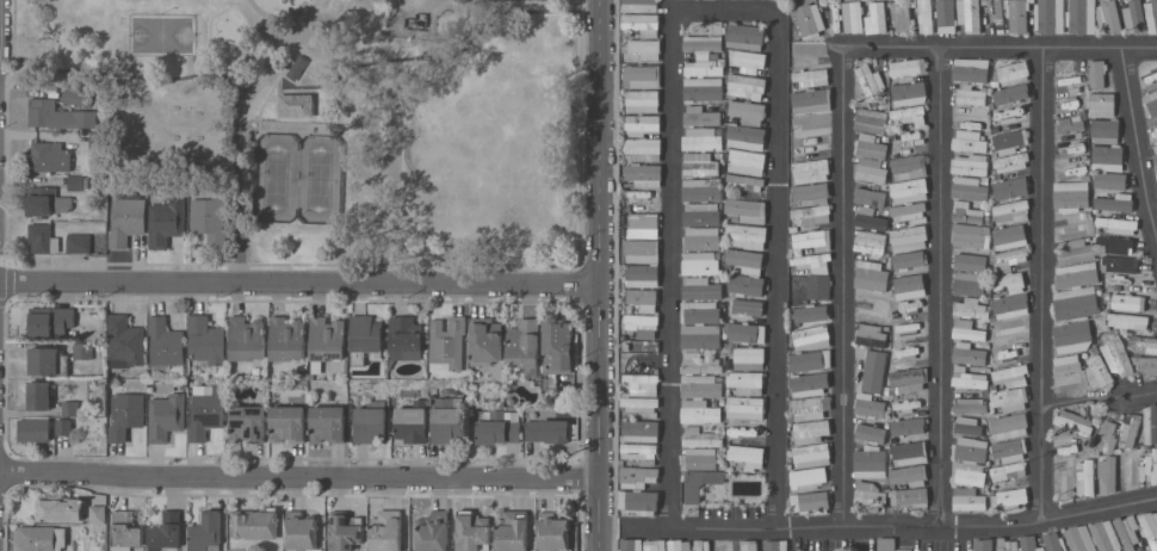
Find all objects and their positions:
building: (639, 5)
road: (724, 13)
building: (899, 14)
building: (1017, 14)
building: (852, 16)
building: (923, 16)
building: (945, 16)
building: (967, 16)
building: (996, 16)
building: (1048, 16)
building: (1081, 16)
building: (1151, 16)
building: (874, 17)
building: (1107, 17)
building: (1133, 17)
building: (806, 20)
building: (641, 23)
building: (744, 36)
building: (701, 43)
building: (806, 47)
building: (645, 48)
road: (998, 48)
building: (747, 60)
building: (298, 66)
building: (703, 66)
building: (907, 66)
building: (971, 69)
building: (1096, 72)
building: (1013, 73)
building: (1147, 74)
building: (641, 75)
building: (812, 75)
building: (871, 81)
building: (745, 86)
building: (703, 88)
building: (909, 92)
building: (1010, 93)
building: (969, 94)
building: (78, 97)
building: (1069, 97)
building: (811, 99)
building: (642, 100)
building: (1150, 103)
building: (297, 104)
building: (1101, 104)
building: (747, 111)
building: (58, 114)
building: (700, 114)
building: (909, 114)
building: (1011, 116)
building: (970, 117)
building: (871, 119)
building: (1071, 122)
building: (811, 123)
park: (351, 124)
building: (641, 124)
building: (1152, 129)
building: (1105, 130)
building: (744, 136)
building: (703, 138)
building: (98, 140)
building: (909, 140)
building: (1009, 140)
building: (969, 141)
building: (871, 146)
building: (1070, 146)
road: (1136, 148)
building: (642, 149)
building: (699, 155)
building: (1155, 155)
building: (1107, 156)
building: (48, 157)
building: (745, 161)
building: (1009, 162)
building: (970, 163)
building: (909, 166)
building: (700, 167)
building: (870, 169)
building: (1069, 169)
building: (810, 171)
building: (643, 174)
building: (1156, 174)
building: (1109, 179)
building: (75, 182)
building: (744, 184)
building: (969, 187)
building: (1010, 187)
building: (701, 188)
building: (909, 190)
building: (810, 193)
building: (870, 196)
building: (1070, 196)
building: (1156, 197)
building: (643, 198)
building: (47, 200)
building: (1115, 202)
building: (701, 205)
building: (745, 210)
building: (1011, 210)
building: (966, 211)
building: (909, 212)
building: (811, 215)
building: (701, 217)
building: (209, 218)
building: (870, 218)
building: (125, 219)
building: (166, 222)
building: (642, 223)
building: (1116, 224)
building: (1072, 228)
building: (745, 235)
building: (970, 235)
building: (1009, 235)
building: (43, 237)
building: (701, 237)
building: (908, 237)
building: (812, 239)
building: (870, 241)
building: (78, 242)
building: (1116, 243)
building: (641, 250)
building: (1075, 250)
building: (909, 259)
building: (1009, 259)
building: (744, 260)
building: (811, 261)
building: (970, 261)
building: (700, 262)
building: (1120, 264)
road: (673, 268)
road: (780, 273)
road: (600, 274)
building: (642, 274)
building: (871, 274)
building: (1077, 274)
building: (1008, 281)
road: (299, 283)
building: (969, 283)
building: (1128, 283)
building: (745, 284)
road: (1039, 284)
building: (818, 286)
building: (909, 286)
road: (841, 287)
road: (939, 287)
building: (700, 289)
building: (642, 298)
building: (1076, 302)
building: (1127, 302)
building: (1010, 303)
building: (909, 307)
building: (872, 308)
building: (971, 308)
building: (744, 309)
building: (700, 311)
building: (809, 312)
building: (50, 320)
building: (1127, 320)
building: (642, 324)
building: (967, 329)
building: (1008, 329)
building: (745, 332)
building: (909, 333)
building: (700, 335)
building: (871, 335)
building: (1072, 335)
building: (365, 336)
building: (811, 336)
building: (246, 338)
building: (286, 338)
building: (406, 338)
building: (205, 340)
building: (327, 340)
building: (485, 340)
building: (124, 341)
building: (448, 341)
building: (1144, 342)
building: (524, 343)
building: (165, 345)
building: (557, 345)
building: (82, 349)
building: (1011, 352)
building: (967, 353)
building: (909, 354)
building: (1116, 355)
building: (748, 357)
building: (810, 359)
building: (47, 361)
building: (1145, 361)
building: (1066, 363)
building: (699, 364)
building: (873, 370)
building: (1097, 372)
building: (1010, 376)
building: (970, 378)
building: (908, 379)
building: (745, 382)
building: (638, 384)
building: (809, 384)
building: (700, 385)
building: (1068, 386)
road: (1137, 394)
building: (38, 395)
building: (1009, 398)
building: (908, 403)
building: (868, 404)
building: (971, 404)
building: (639, 405)
building: (745, 407)
building: (809, 407)
building: (70, 408)
building: (699, 410)
building: (205, 411)
building: (125, 415)
building: (166, 417)
building: (446, 419)
building: (247, 422)
building: (370, 422)
building: (412, 422)
building: (1071, 422)
building: (287, 423)
building: (327, 423)
building: (1150, 423)
building: (1009, 425)
building: (63, 426)
building: (908, 426)
building: (496, 427)
building: (975, 427)
building: (33, 429)
building: (1130, 429)
building: (546, 431)
building: (639, 431)
building: (747, 431)
building: (810, 431)
building: (870, 432)
building: (1105, 434)
building: (700, 437)
building: (1066, 447)
building: (970, 448)
building: (1009, 448)
building: (639, 452)
building: (909, 452)
building: (745, 454)
building: (811, 454)
building: (700, 457)
building: (870, 462)
building: (1149, 466)
building: (1130, 469)
building: (1008, 471)
building: (967, 472)
building: (1108, 472)
building: (908, 475)
road: (298, 476)
building: (637, 476)
building: (808, 477)
building: (1085, 477)
building: (1066, 481)
building: (699, 482)
building: (870, 494)
building: (909, 496)
building: (1008, 497)
building: (967, 499)
building: (638, 500)
building: (810, 501)
building: (60, 507)
building: (98, 513)
building: (255, 522)
road: (614, 526)
road: (895, 527)
building: (1150, 527)
building: (165, 530)
building: (345, 530)
building: (471, 530)
building: (302, 531)
building: (385, 531)
building: (433, 531)
building: (512, 531)
building: (553, 531)
building: (1126, 531)
building: (125, 532)
building: (205, 532)
building: (1105, 535)
building: (36, 538)
building: (1079, 538)
building: (1054, 541)
building: (885, 543)
building: (1029, 543)
building: (631, 544)
building: (655, 544)
building: (678, 544)
building: (1007, 544)
building: (700, 545)
building: (729, 545)
building: (749, 545)
building: (777, 545)
building: (984, 545)
building: (235, 550)

